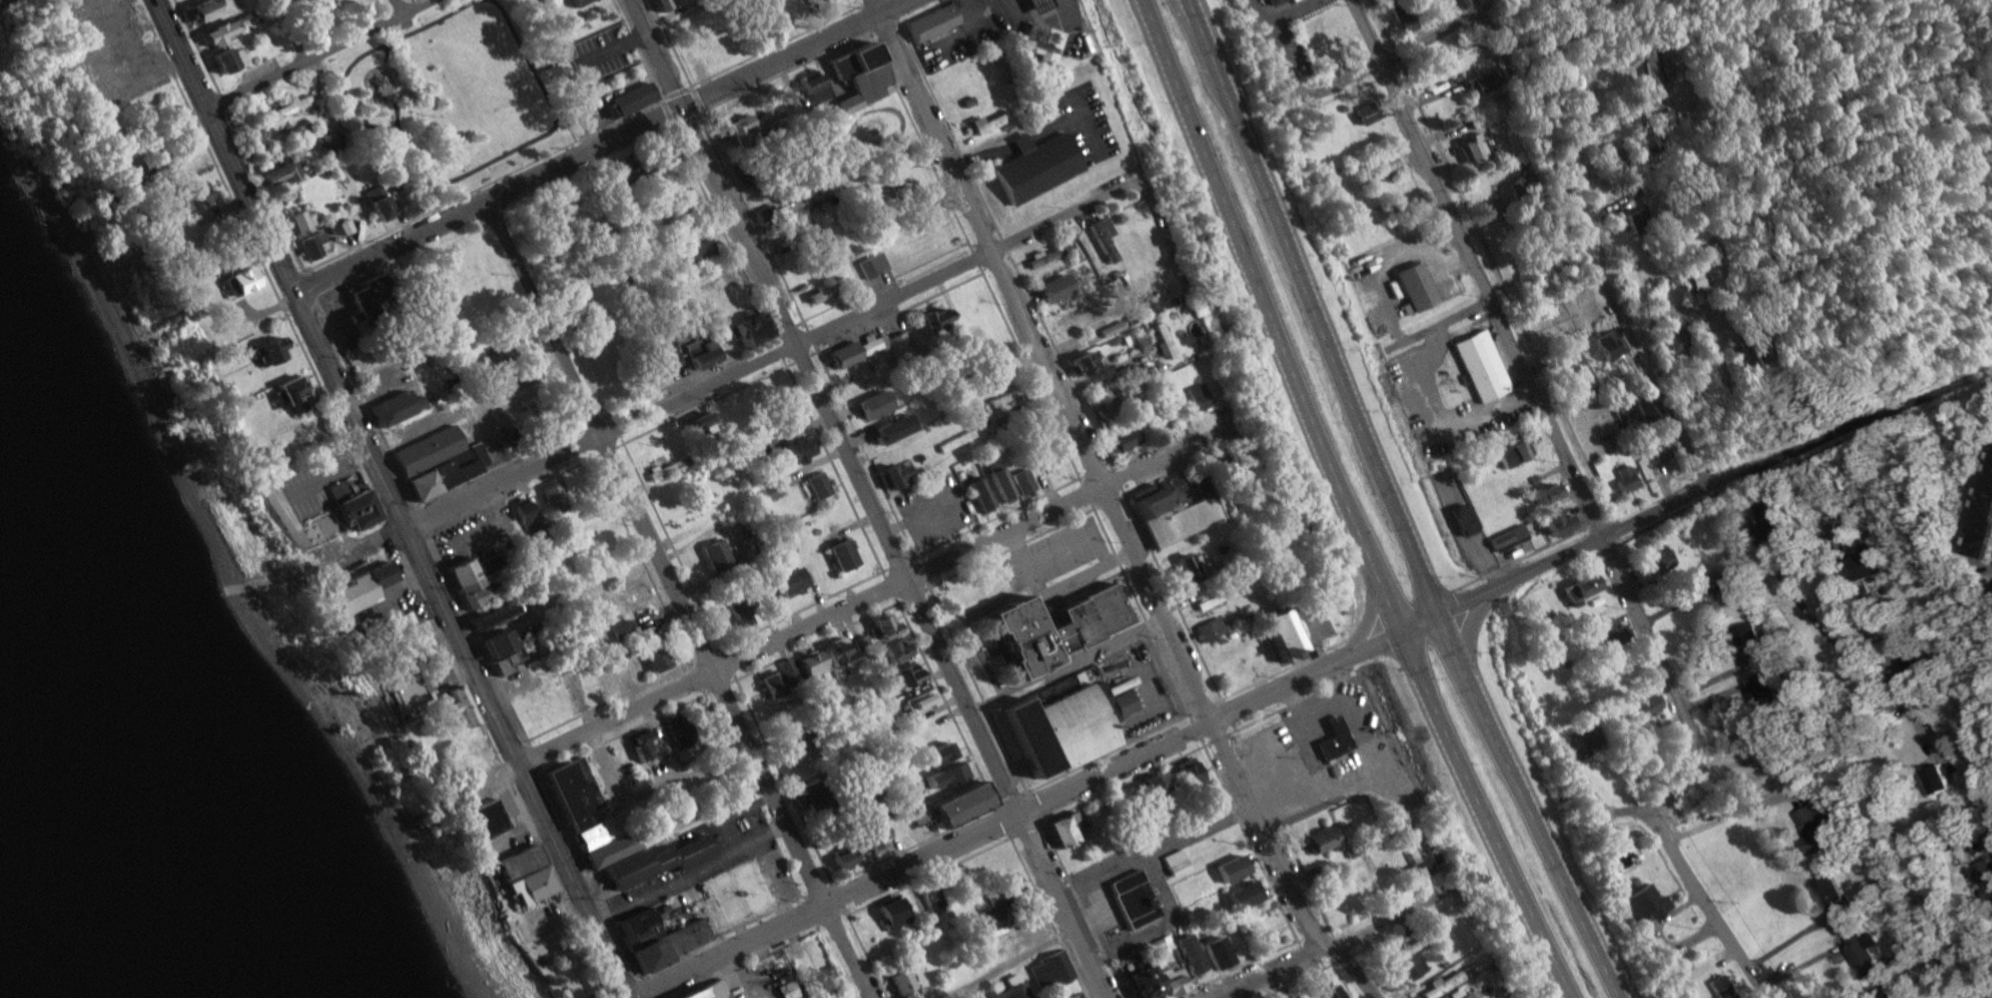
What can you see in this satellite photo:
building: (1269, 1)
road: (863, 2)
building: (574, 3)
building: (1459, 3)
building: (764, 4)
road: (414, 5)
building: (655, 5)
building: (1034, 6)
gas station: (1034, 6)
road: (1485, 6)
road: (397, 8)
building: (198, 9)
road: (381, 12)
road: (888, 12)
road: (1281, 17)
road: (863, 18)
road: (1033, 18)
building: (1403, 21)
building: (928, 24)
road: (882, 28)
road: (290, 32)
road: (1200, 33)
building: (210, 35)
road: (668, 43)
road: (195, 45)
road: (772, 46)
building: (1043, 48)
road: (525, 49)
road: (612, 49)
road: (636, 50)
road: (322, 55)
parking lot: (596, 55)
road: (388, 57)
building: (223, 60)
road: (1384, 62)
road: (559, 63)
road: (1285, 63)
road: (783, 71)
building: (1664, 71)
building: (857, 78)
building: (1481, 84)
park: (479, 88)
building: (809, 89)
road: (673, 94)
building: (405, 96)
road: (693, 99)
road: (222, 102)
building: (629, 102)
building: (286, 109)
road: (665, 113)
building: (1364, 115)
building: (1671, 117)
road: (684, 119)
road: (368, 120)
building: (984, 124)
building: (730, 129)
building: (257, 132)
road: (948, 132)
road: (574, 137)
road: (920, 141)
building: (1653, 145)
road: (226, 148)
road: (604, 148)
building: (1471, 149)
building: (1616, 158)
road: (1584, 159)
building: (1031, 171)
building: (1381, 171)
building: (278, 174)
building: (616, 176)
building: (1523, 183)
road: (479, 185)
building: (678, 186)
road: (263, 193)
road: (426, 196)
building: (190, 197)
building: (374, 204)
building: (1630, 220)
road: (752, 221)
building: (298, 223)
road: (722, 233)
building: (1100, 238)
road: (1004, 245)
building: (309, 247)
building: (689, 252)
road: (975, 258)
building: (870, 265)
building: (1706, 276)
building: (236, 283)
road: (881, 283)
road: (308, 286)
building: (1050, 288)
building: (1414, 289)
road: (274, 291)
building: (358, 299)
road: (300, 307)
road: (1683, 310)
road: (895, 314)
building: (928, 320)
road: (1438, 326)
building: (745, 327)
road: (783, 330)
building: (1109, 330)
road: (809, 337)
building: (1679, 339)
building: (1161, 340)
building: (895, 342)
building: (1611, 344)
building: (866, 345)
road: (777, 350)
building: (1766, 351)
building: (263, 352)
building: (698, 353)
building: (840, 355)
road: (802, 359)
road: (1057, 361)
building: (1078, 362)
road: (1520, 362)
building: (662, 363)
road: (746, 366)
building: (1481, 369)
road: (1029, 374)
building: (516, 376)
road: (685, 376)
road: (1651, 378)
building: (1576, 379)
building: (288, 391)
building: (1195, 397)
building: (869, 404)
road: (362, 405)
road: (704, 405)
building: (396, 410)
building: (1643, 411)
building: (1180, 418)
building: (696, 422)
road: (589, 423)
road: (1853, 424)
road: (616, 425)
building: (888, 429)
building: (1118, 439)
road: (583, 440)
building: (954, 441)
building: (796, 449)
building: (1663, 450)
road: (608, 452)
road: (864, 452)
building: (1512, 453)
building: (425, 454)
road: (493, 468)
road: (832, 468)
building: (664, 470)
road: (1094, 471)
building: (887, 475)
road: (1098, 477)
road: (1115, 477)
building: (442, 479)
building: (1626, 480)
building: (1020, 481)
building: (996, 483)
building: (816, 484)
building: (334, 490)
building: (767, 491)
building: (973, 493)
road: (1085, 493)
building: (1542, 493)
road: (514, 495)
building: (548, 495)
road: (867, 498)
road: (1111, 501)
road: (1345, 503)
building: (354, 509)
building: (518, 510)
building: (1982, 514)
road: (396, 515)
road: (996, 517)
building: (1172, 518)
building: (1774, 518)
building: (1460, 520)
road: (418, 521)
building: (1554, 522)
road: (364, 530)
road: (391, 537)
road: (1404, 537)
building: (1506, 539)
road: (413, 544)
road: (1073, 544)
road: (672, 545)
road: (1010, 549)
building: (710, 553)
building: (837, 555)
road: (640, 559)
building: (1197, 561)
building: (1659, 561)
building: (1862, 562)
road: (898, 563)
building: (1181, 569)
road: (921, 572)
building: (462, 581)
building: (784, 581)
building: (1578, 586)
road: (889, 587)
building: (357, 590)
building: (1729, 590)
road: (1012, 591)
road: (1079, 591)
road: (1055, 593)
road: (877, 594)
road: (913, 594)
road: (1170, 594)
flagpole: (943, 596)
road: (680, 600)
building: (1211, 600)
road: (989, 605)
road: (801, 609)
building: (734, 612)
road: (1141, 612)
building: (486, 614)
building: (1081, 618)
building: (403, 620)
building: (879, 625)
building: (619, 630)
building: (1206, 630)
building: (1611, 631)
building: (1741, 634)
building: (1282, 635)
building: (1014, 636)
road: (475, 637)
road: (817, 640)
building: (491, 643)
road: (977, 645)
road: (462, 647)
building: (891, 649)
road: (1883, 652)
building: (833, 653)
road: (704, 655)
building: (648, 656)
road: (980, 656)
building: (1900, 663)
road: (728, 664)
building: (807, 664)
road: (1064, 664)
road: (1289, 666)
building: (899, 674)
road: (695, 678)
building: (776, 678)
building: (403, 686)
road: (719, 686)
road: (977, 690)
building: (1759, 691)
building: (1120, 697)
road: (609, 701)
building: (920, 701)
road: (945, 704)
building: (451, 706)
building: (1111, 706)
road: (1203, 706)
road: (1287, 706)
building: (1642, 706)
road: (1226, 712)
road: (586, 713)
road: (648, 721)
building: (671, 727)
road: (1233, 727)
road: (1196, 729)
building: (1055, 734)
road: (1218, 738)
building: (1584, 739)
road: (1175, 740)
building: (1332, 740)
building: (637, 744)
road: (727, 745)
road: (1107, 753)
building: (934, 755)
road: (531, 757)
road: (563, 762)
building: (1186, 772)
road: (1684, 772)
road: (505, 775)
building: (939, 775)
building: (1936, 777)
road: (784, 781)
road: (992, 782)
road: (1124, 783)
building: (1148, 784)
building: (575, 793)
building: (800, 794)
road: (1010, 798)
building: (958, 806)
road: (1034, 807)
road: (1631, 813)
road: (1730, 814)
road: (1002, 821)
building: (482, 822)
building: (1058, 829)
building: (1809, 829)
road: (1025, 830)
building: (591, 836)
building: (871, 838)
building: (1319, 840)
road: (1248, 842)
road: (914, 844)
road: (1988, 847)
road: (1151, 848)
building: (606, 851)
building: (840, 859)
building: (1173, 863)
building: (1416, 863)
building: (518, 864)
building: (657, 864)
building: (1227, 869)
road: (690, 874)
road: (586, 875)
building: (1984, 875)
road: (930, 876)
road: (1305, 880)
building: (528, 887)
building: (998, 887)
road: (816, 889)
building: (1824, 892)
building: (929, 896)
building: (1238, 896)
road: (839, 898)
building: (1133, 902)
building: (1641, 903)
road: (1382, 906)
road: (1082, 908)
road: (1708, 909)
building: (888, 914)
building: (990, 914)
road: (1048, 915)
road: (831, 920)
road: (1096, 921)
building: (637, 929)
flagpole: (1116, 933)
road: (719, 935)
road: (1312, 935)
flagpole: (1112, 936)
road: (1345, 943)
road: (1688, 943)
building: (668, 944)
road: (576, 953)
road: (864, 953)
building: (1213, 953)
road: (1306, 953)
building: (1862, 954)
building: (1186, 955)
road: (1344, 959)
road: (596, 962)
road: (748, 963)
park: (567, 964)
road: (833, 964)
road: (1381, 964)
road: (1010, 965)
road: (1318, 966)
road: (1237, 968)
building: (1410, 969)
building: (1469, 970)
road: (575, 972)
road: (590, 974)
building: (1050, 974)
road: (1347, 974)
park: (503, 978)
road: (1301, 980)
building: (1167, 981)
building: (897, 982)
road: (1339, 982)
building: (1440, 985)
road: (640, 986)
building: (828, 986)
building: (1718, 987)
building: (711, 991)
building: (1326, 992)
road: (598, 993)
building: (1013, 993)
building: (1455, 994)
building: (1889, 995)
building: (1466, 996)
park: (610, 997)
road: (611, 997)
building: (1285, 997)

